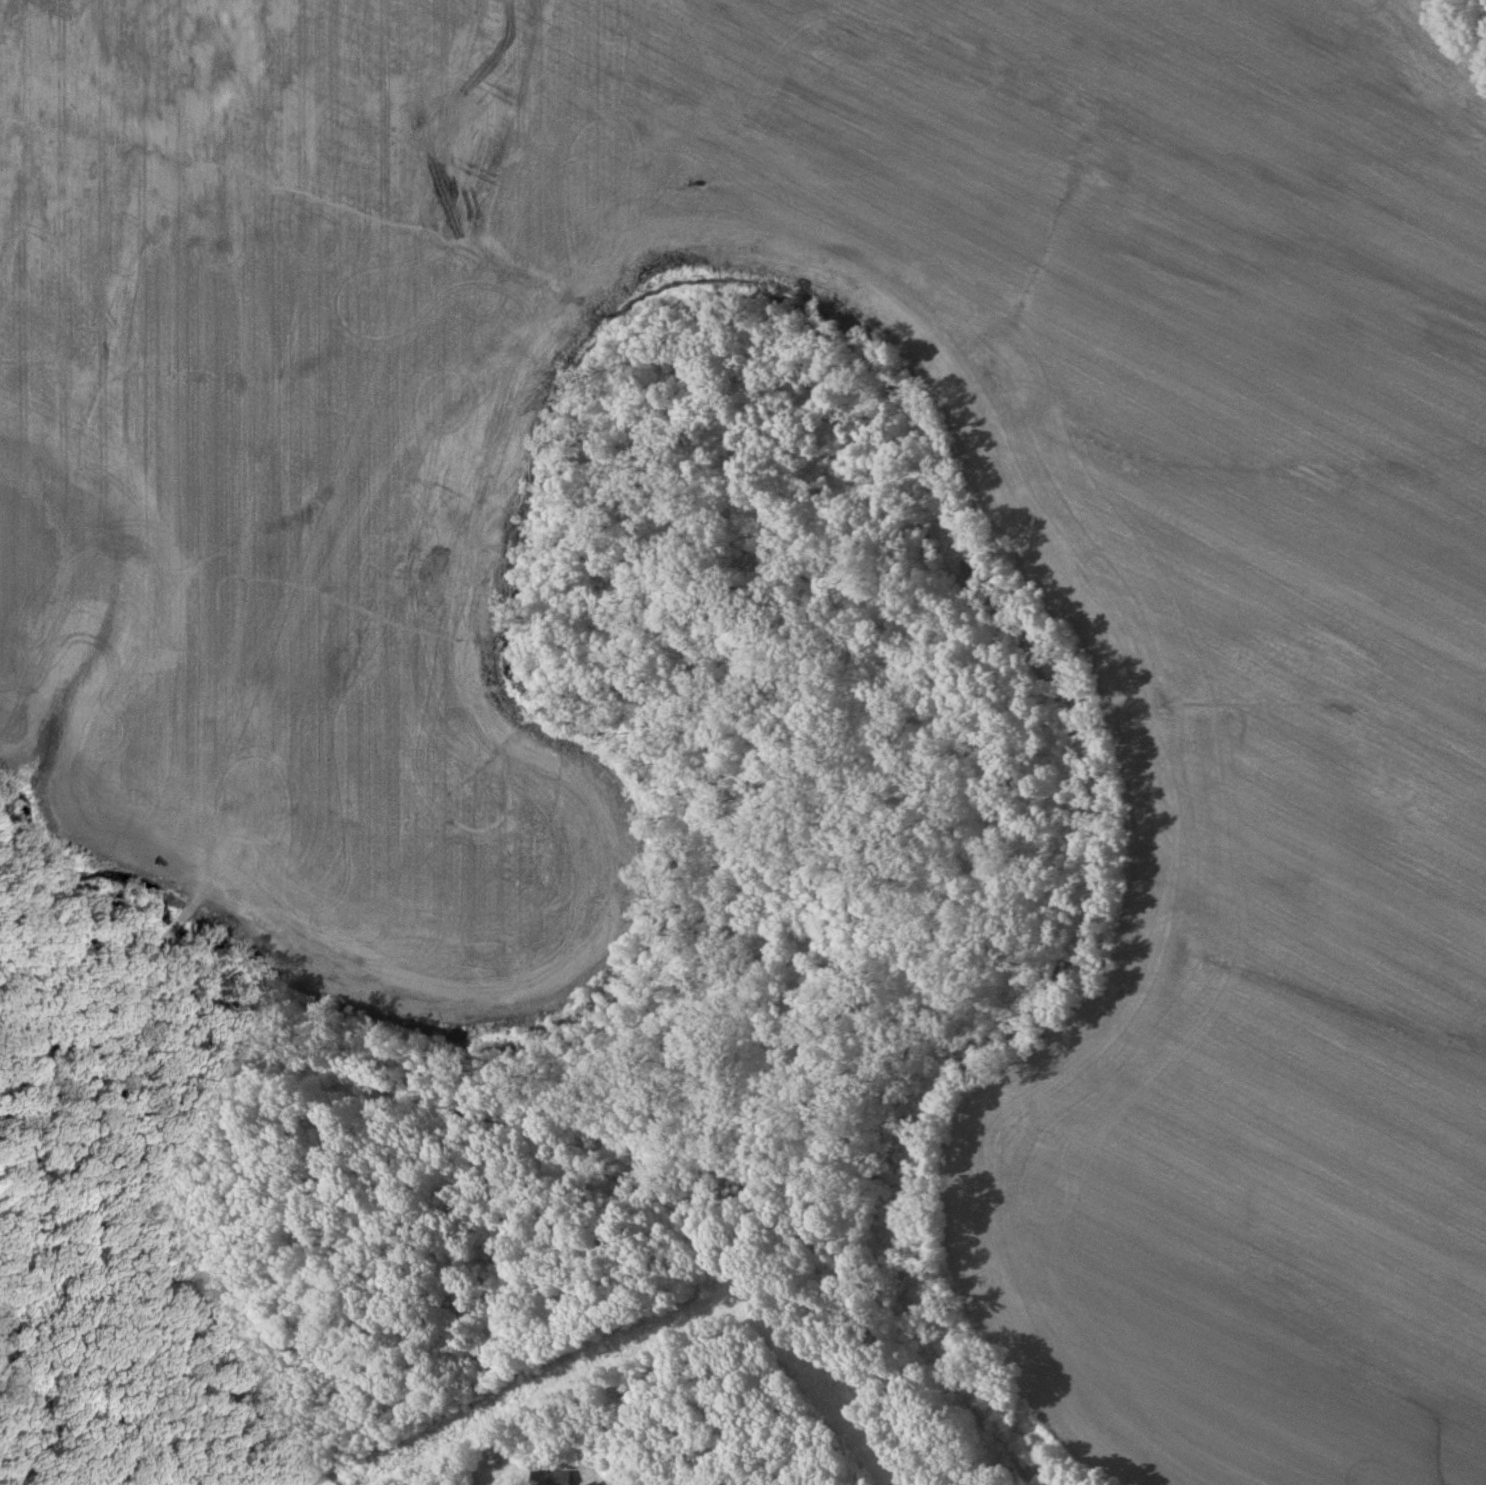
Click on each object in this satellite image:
crop: (292, 742)
park: (743, 742)
road: (523, 1155)
building: (554, 1477)
building: (598, 1483)

